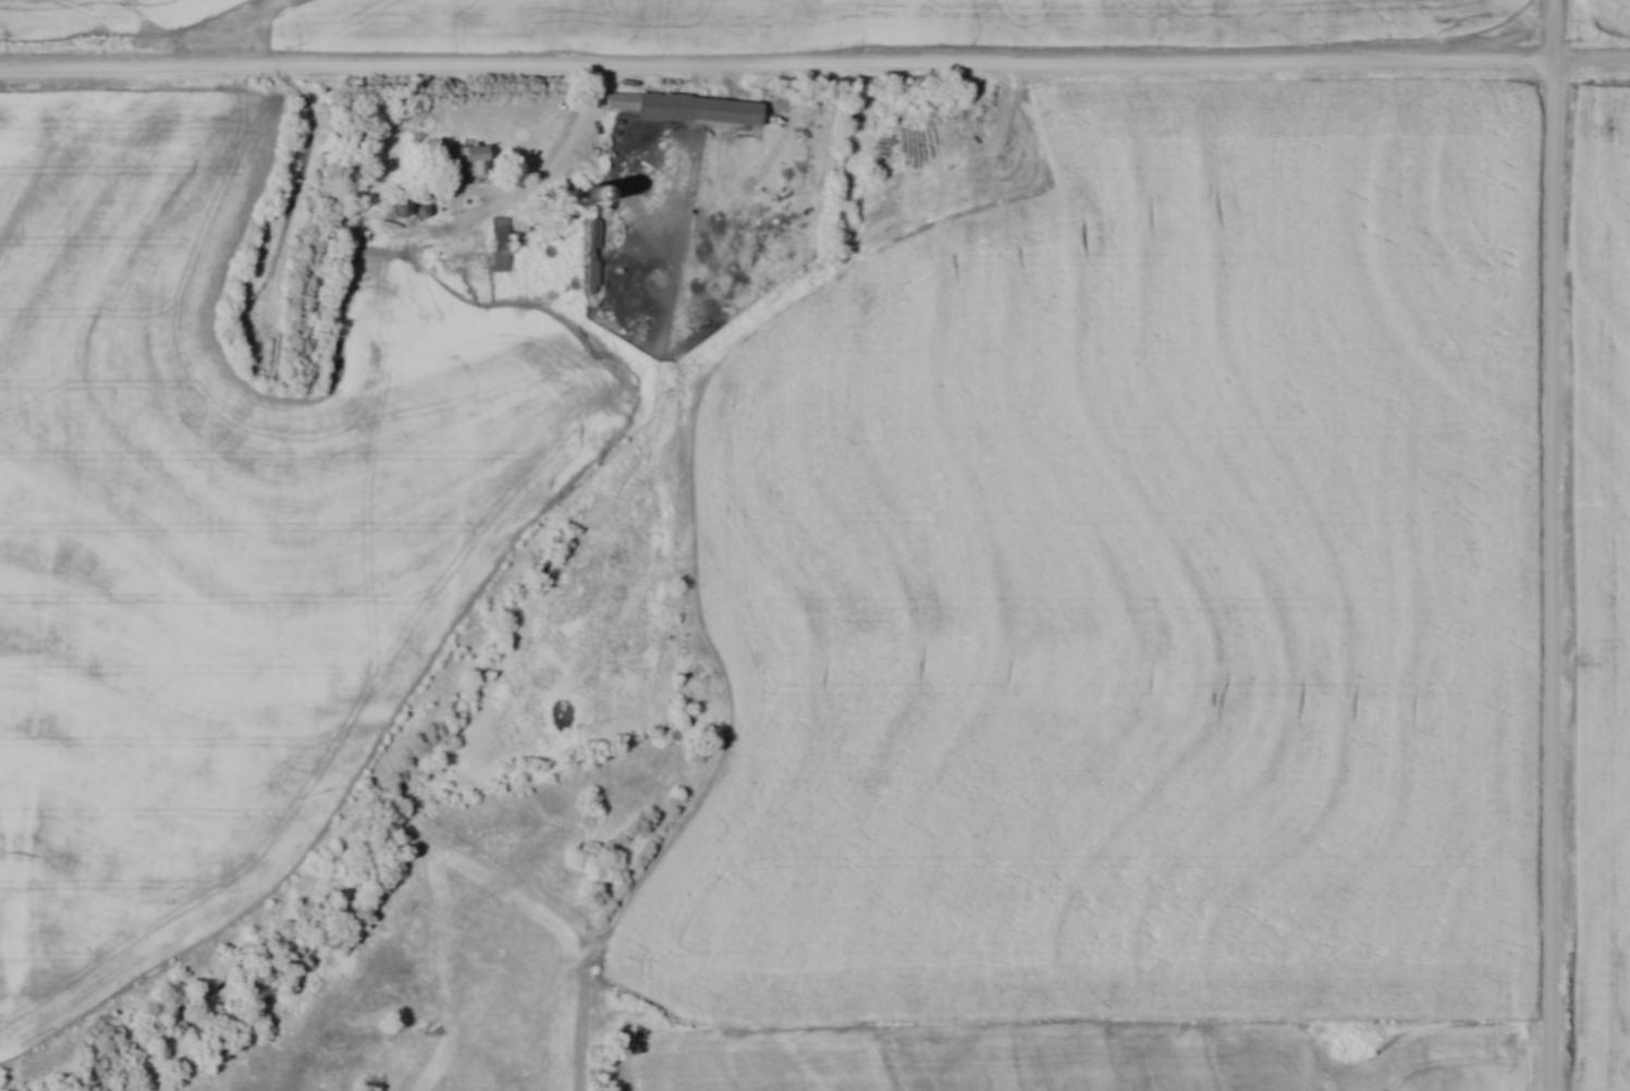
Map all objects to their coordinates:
road: (814, 66)
building: (683, 106)
road: (575, 148)
building: (462, 156)
road: (487, 211)
building: (497, 260)
road: (1555, 544)

